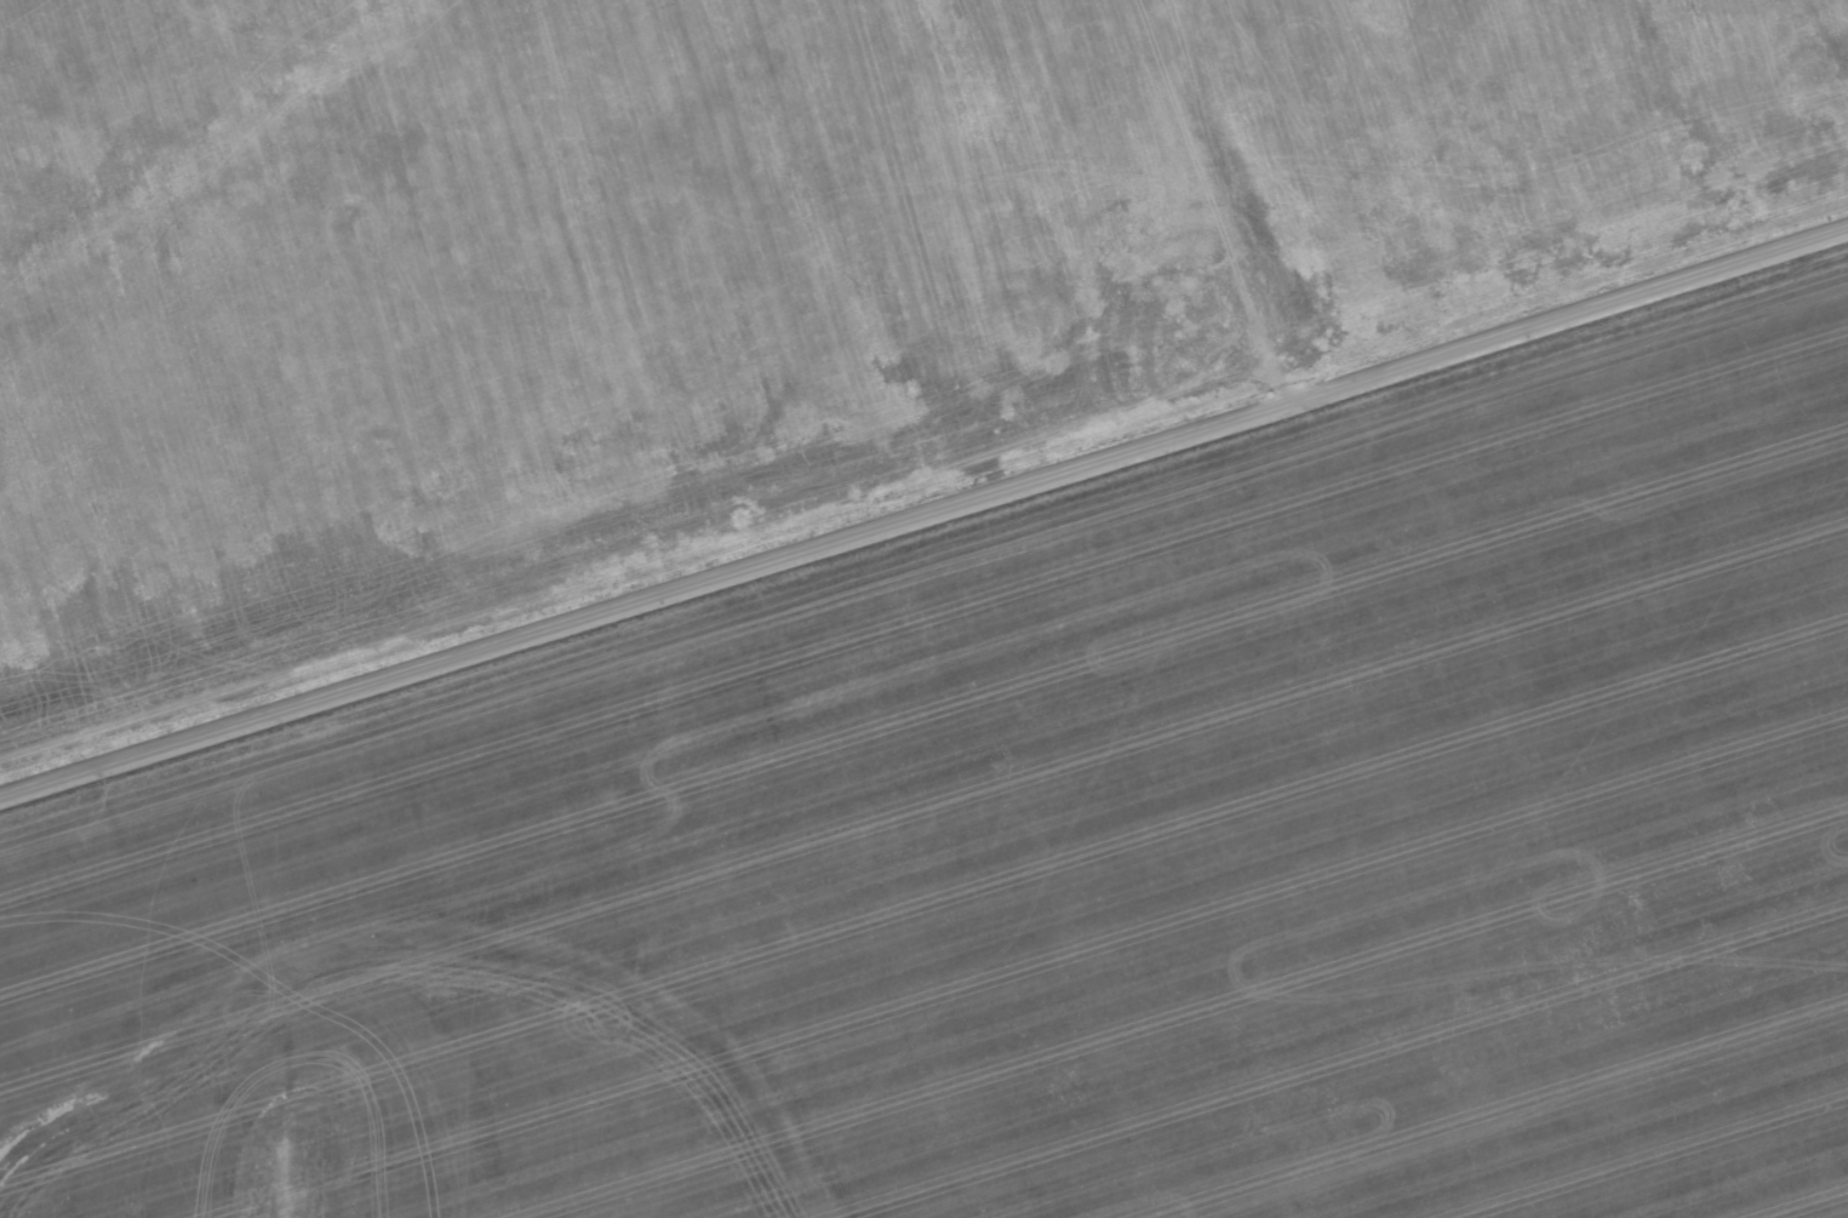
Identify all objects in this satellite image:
road: (923, 511)

